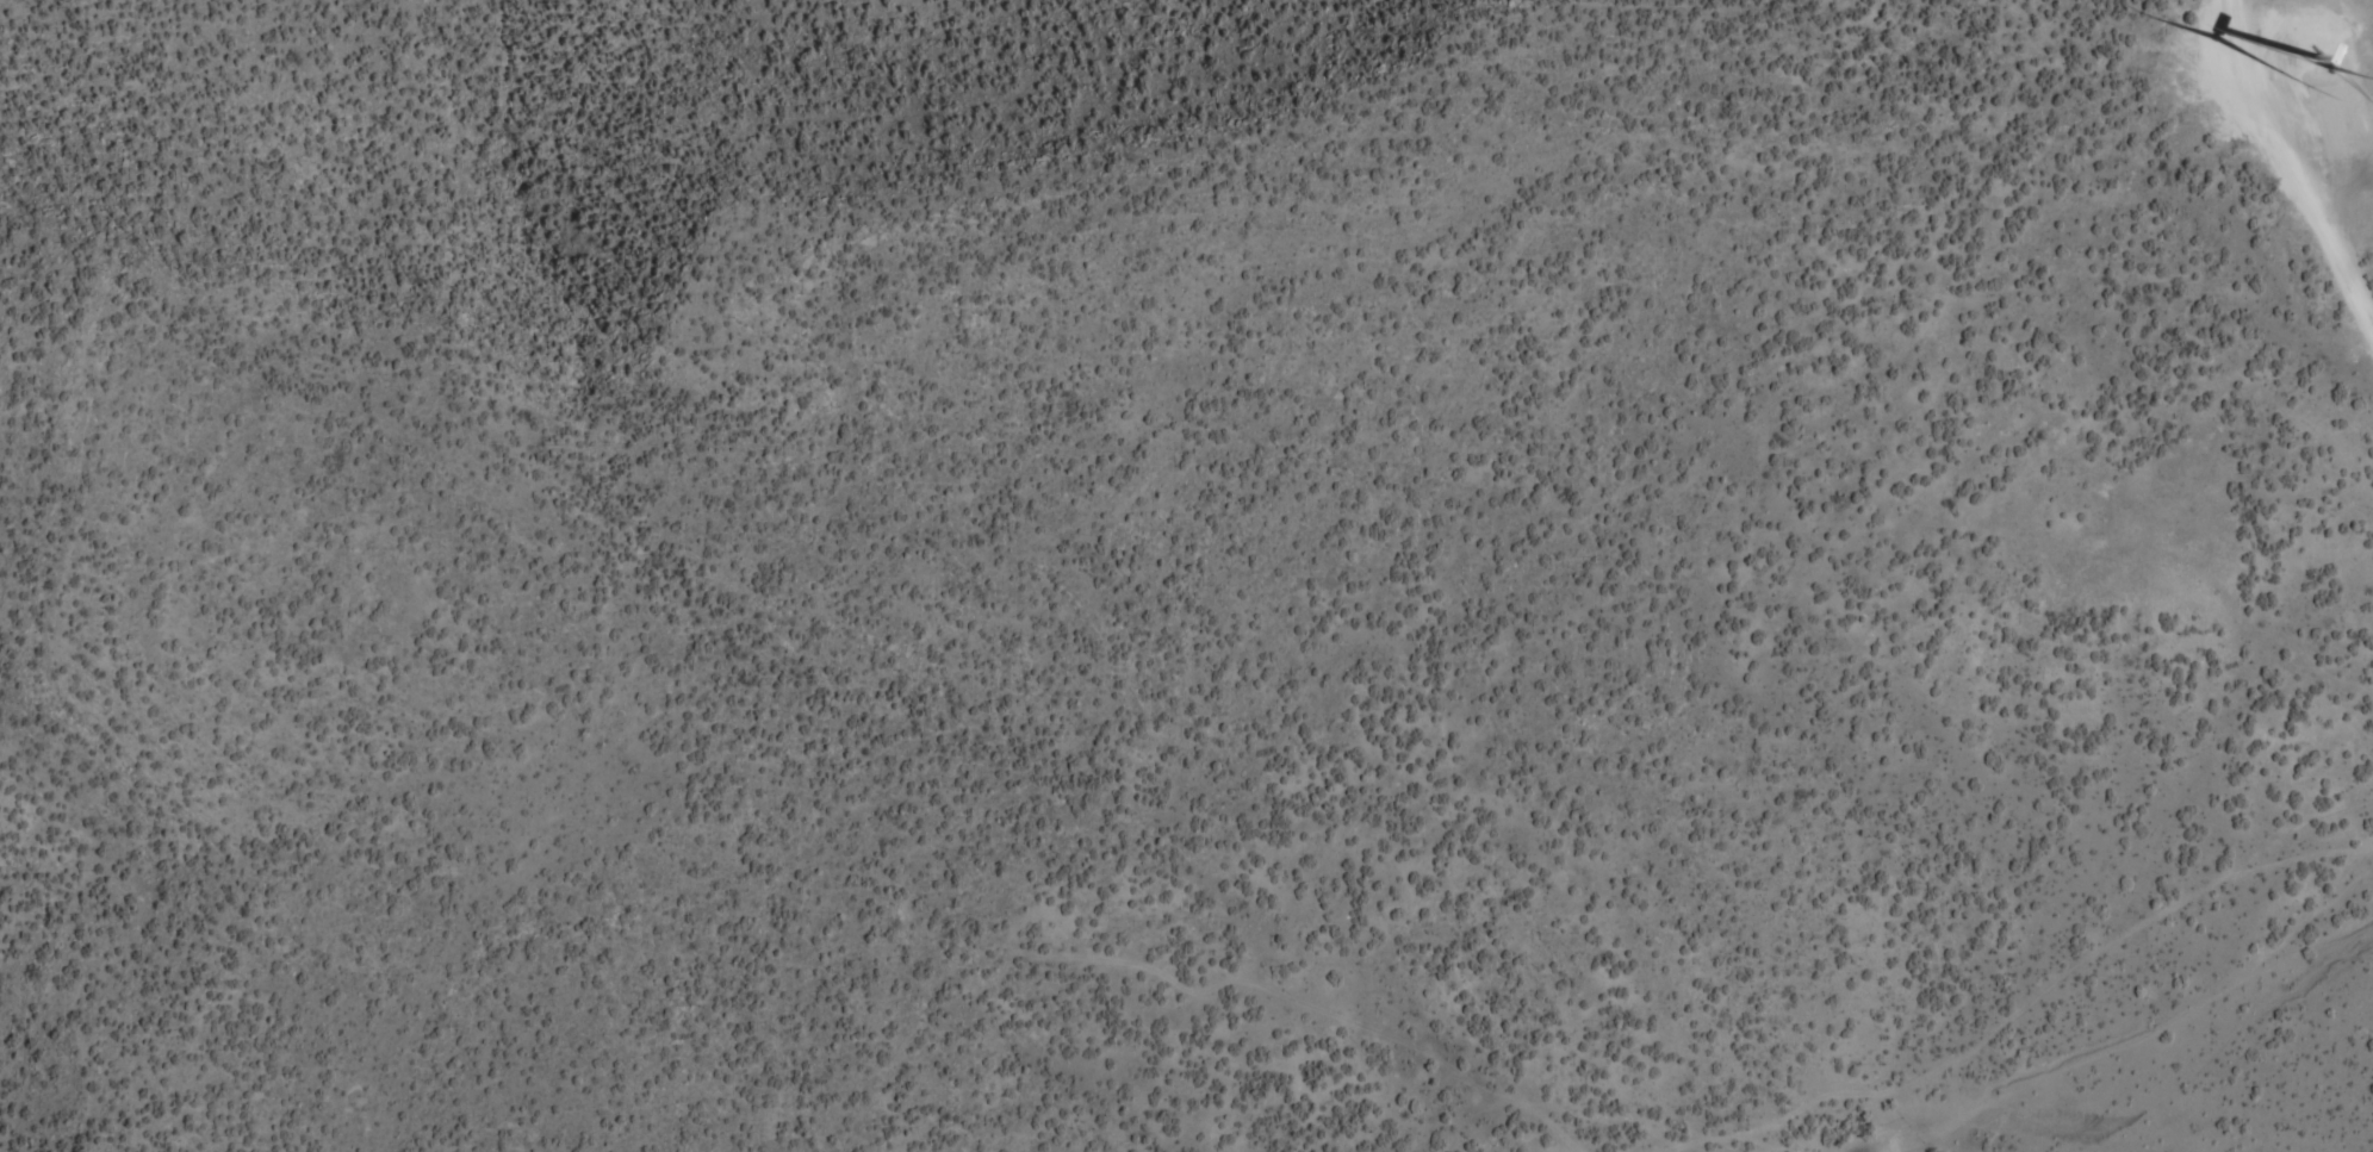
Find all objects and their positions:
wind turbine: (2315, 89)
road: (2174, 1064)

